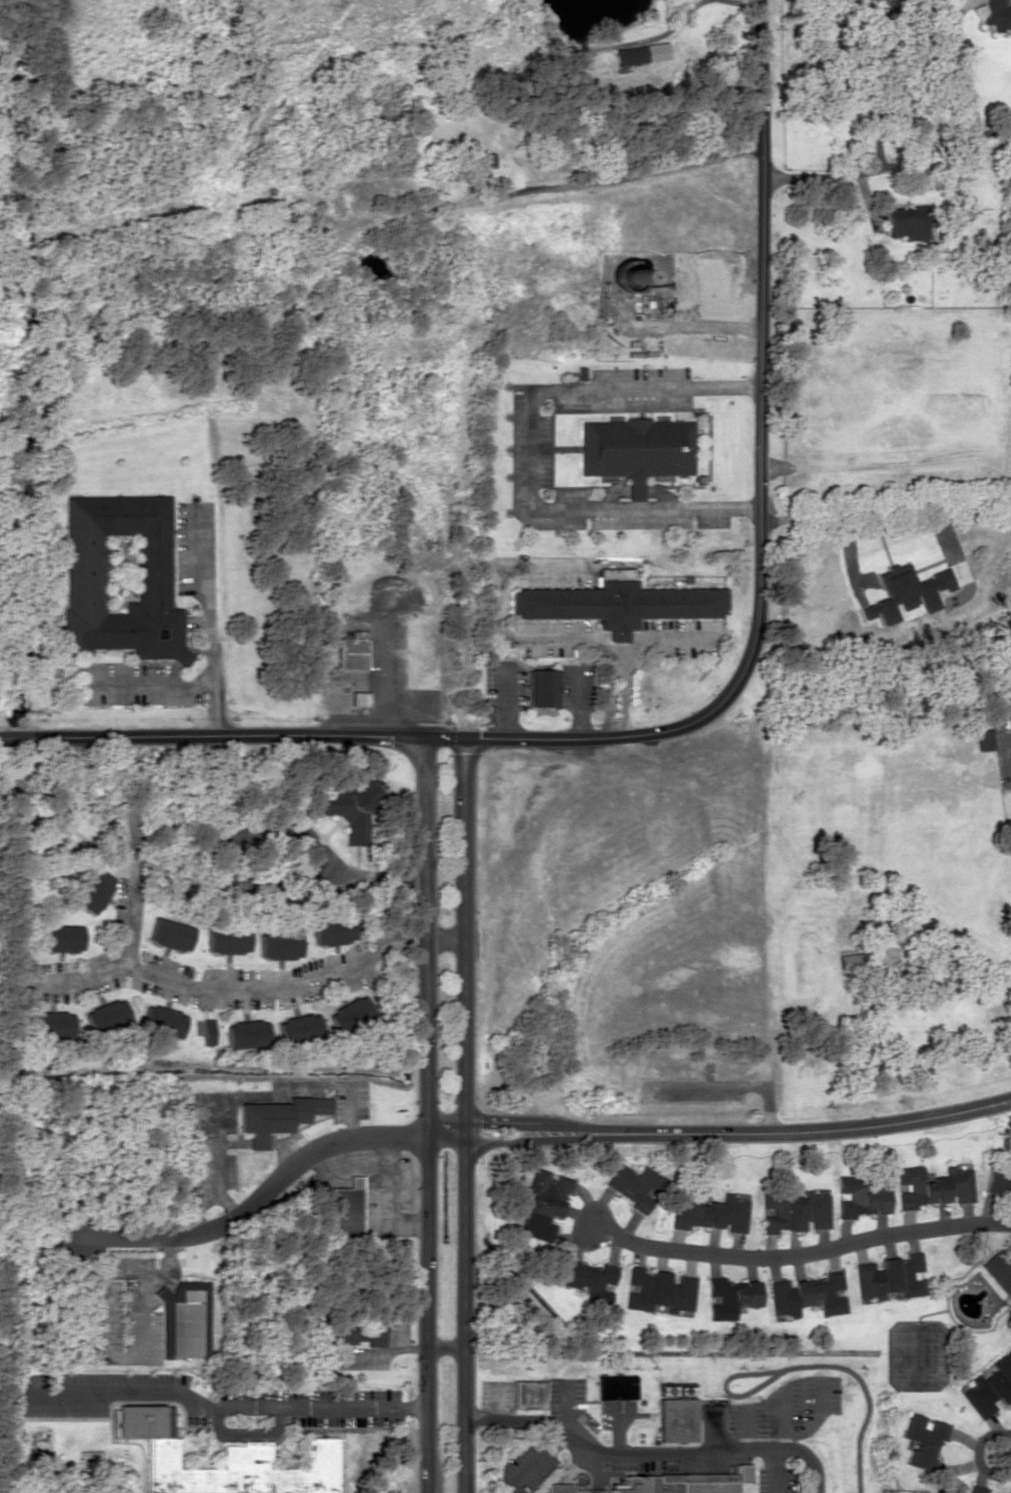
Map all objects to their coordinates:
building: (997, 14)
building: (640, 53)
building: (482, 166)
road: (886, 169)
road: (608, 178)
building: (907, 222)
road: (760, 352)
building: (636, 449)
road: (885, 511)
building: (121, 583)
building: (621, 607)
building: (354, 658)
building: (542, 687)
road: (368, 735)
traffic signals: (424, 736)
traffic signals: (464, 737)
building: (983, 739)
building: (351, 808)
building: (93, 891)
building: (332, 931)
building: (169, 933)
building: (60, 937)
building: (226, 940)
building: (278, 945)
building: (849, 960)
building: (349, 1012)
building: (105, 1016)
building: (161, 1021)
building: (51, 1024)
building: (298, 1027)
building: (205, 1029)
building: (246, 1033)
road: (424, 1114)
road: (464, 1115)
building: (276, 1116)
road: (718, 1135)
building: (997, 1178)
building: (634, 1185)
building: (932, 1186)
road: (261, 1196)
building: (859, 1198)
building: (544, 1203)
building: (346, 1208)
building: (794, 1211)
building: (709, 1212)
road: (796, 1260)
building: (999, 1270)
building: (891, 1276)
building: (590, 1278)
building: (658, 1290)
building: (805, 1294)
building: (729, 1296)
building: (184, 1323)
building: (357, 1333)
road: (724, 1381)
building: (615, 1387)
building: (990, 1387)
building: (529, 1393)
road: (862, 1393)
road: (493, 1400)
road: (565, 1402)
parking lot: (612, 1411)
building: (675, 1412)
road: (631, 1414)
road: (782, 1416)
road: (818, 1417)
park: (852, 1422)
road: (744, 1425)
road: (615, 1427)
road: (714, 1427)
building: (923, 1440)
road: (586, 1445)
road: (1009, 1447)
road: (780, 1449)
road: (533, 1460)
parking lot: (641, 1461)
building: (226, 1462)
road: (564, 1470)
road: (593, 1470)
road: (774, 1471)
parking lot: (776, 1480)
building: (683, 1482)
building: (566, 1489)
building: (976, 1490)

